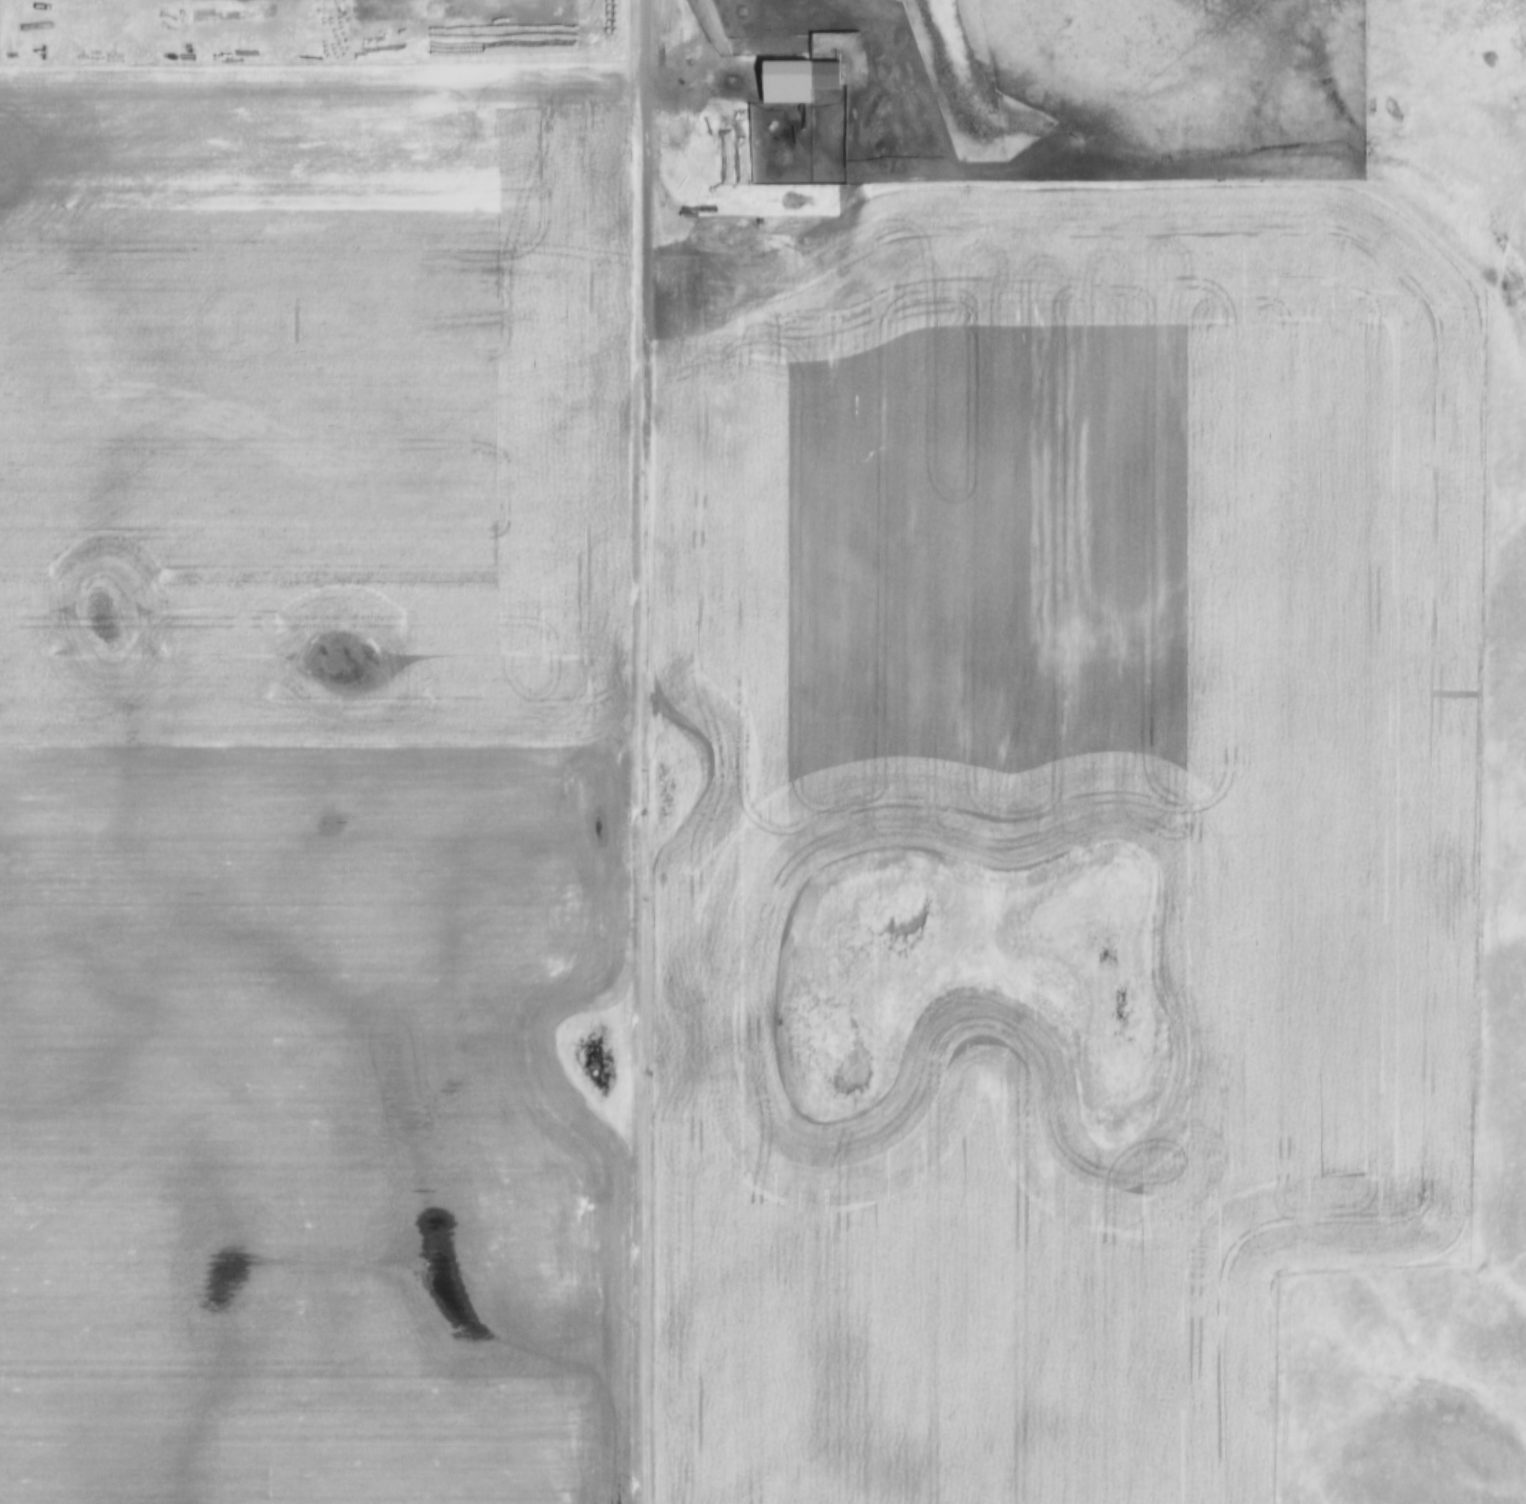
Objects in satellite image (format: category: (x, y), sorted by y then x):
building: (827, 76)
road: (648, 751)

